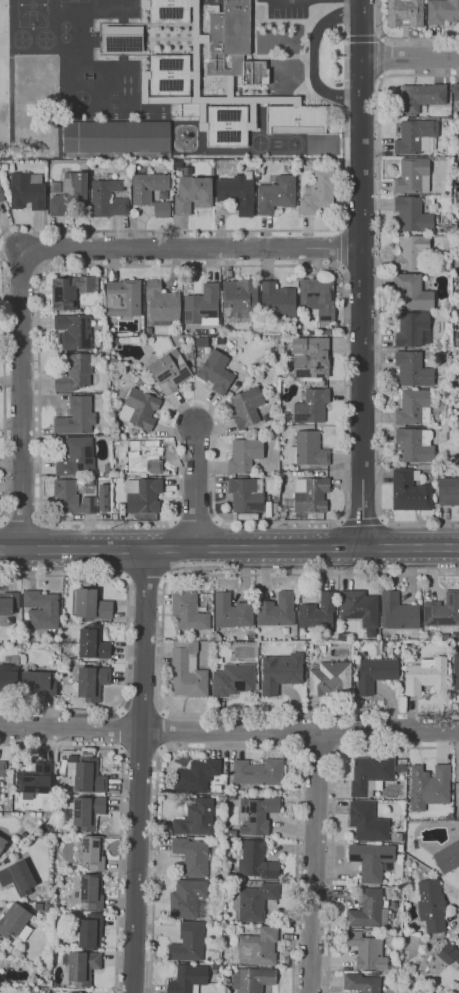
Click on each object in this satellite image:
road: (144, 1)
building: (145, 3)
parking lot: (291, 8)
building: (169, 11)
building: (442, 11)
building: (405, 13)
road: (283, 20)
road: (254, 29)
building: (124, 37)
building: (195, 38)
road: (401, 40)
building: (232, 42)
road: (195, 50)
road: (307, 54)
road: (314, 55)
road: (280, 56)
road: (410, 57)
road: (383, 58)
building: (169, 74)
road: (144, 88)
building: (455, 91)
building: (417, 98)
road: (224, 100)
building: (190, 110)
road: (202, 113)
road: (253, 113)
building: (296, 119)
building: (227, 126)
building: (414, 135)
building: (116, 137)
building: (177, 164)
building: (84, 166)
building: (4, 167)
building: (212, 172)
building: (413, 175)
building: (27, 191)
building: (151, 192)
building: (237, 192)
building: (318, 192)
building: (70, 194)
building: (192, 195)
building: (277, 195)
building: (1, 196)
building: (162, 196)
building: (107, 199)
building: (412, 215)
road: (282, 230)
building: (447, 230)
building: (446, 245)
road: (343, 247)
road: (191, 249)
building: (410, 253)
road: (52, 267)
road: (361, 274)
building: (71, 291)
building: (413, 292)
road: (378, 297)
building: (123, 298)
building: (317, 299)
building: (239, 300)
building: (277, 301)
building: (1, 303)
building: (161, 304)
building: (202, 306)
building: (411, 329)
building: (149, 330)
building: (74, 331)
building: (456, 339)
building: (201, 342)
building: (199, 354)
building: (189, 355)
building: (310, 357)
building: (413, 369)
building: (170, 371)
building: (216, 372)
building: (74, 373)
building: (138, 382)
building: (440, 386)
road: (4, 392)
building: (447, 392)
road: (22, 400)
building: (311, 406)
building: (247, 407)
building: (140, 408)
building: (414, 408)
building: (76, 417)
building: (267, 417)
building: (415, 445)
building: (308, 449)
building: (244, 455)
building: (76, 457)
building: (142, 458)
building: (442, 460)
building: (107, 468)
building: (281, 478)
road: (195, 487)
building: (410, 491)
building: (448, 491)
building: (143, 495)
building: (245, 496)
building: (308, 496)
building: (102, 497)
building: (71, 498)
building: (275, 508)
road: (363, 517)
building: (281, 518)
road: (23, 520)
road: (229, 548)
road: (145, 578)
building: (86, 582)
building: (8, 603)
building: (90, 605)
building: (359, 607)
building: (42, 610)
building: (231, 611)
building: (276, 611)
building: (189, 612)
building: (397, 612)
building: (443, 612)
building: (318, 613)
building: (82, 623)
building: (216, 637)
building: (251, 638)
road: (127, 642)
building: (92, 643)
building: (455, 645)
road: (161, 646)
building: (82, 663)
building: (95, 664)
building: (188, 670)
building: (456, 671)
building: (280, 673)
building: (375, 674)
building: (425, 675)
building: (8, 677)
building: (329, 678)
building: (233, 680)
building: (37, 684)
building: (92, 684)
road: (143, 710)
road: (163, 729)
road: (121, 730)
road: (71, 731)
road: (301, 731)
road: (141, 749)
road: (227, 749)
road: (317, 752)
building: (63, 766)
building: (5, 769)
road: (142, 771)
building: (257, 772)
building: (87, 775)
building: (370, 775)
building: (196, 776)
building: (35, 779)
building: (429, 787)
building: (458, 793)
road: (122, 811)
building: (88, 812)
road: (333, 812)
building: (257, 815)
building: (447, 817)
building: (195, 819)
building: (367, 822)
building: (231, 833)
building: (398, 837)
building: (2, 844)
building: (400, 848)
building: (93, 853)
building: (192, 856)
building: (448, 857)
building: (371, 860)
building: (256, 861)
road: (314, 861)
building: (17, 878)
building: (92, 891)
building: (186, 898)
building: (252, 902)
building: (431, 905)
building: (368, 910)
building: (15, 923)
building: (89, 931)
building: (404, 938)
building: (188, 942)
building: (258, 947)
building: (367, 951)
building: (449, 954)
building: (81, 966)
building: (374, 974)
building: (188, 979)
building: (252, 979)
building: (361, 983)
building: (77, 992)

